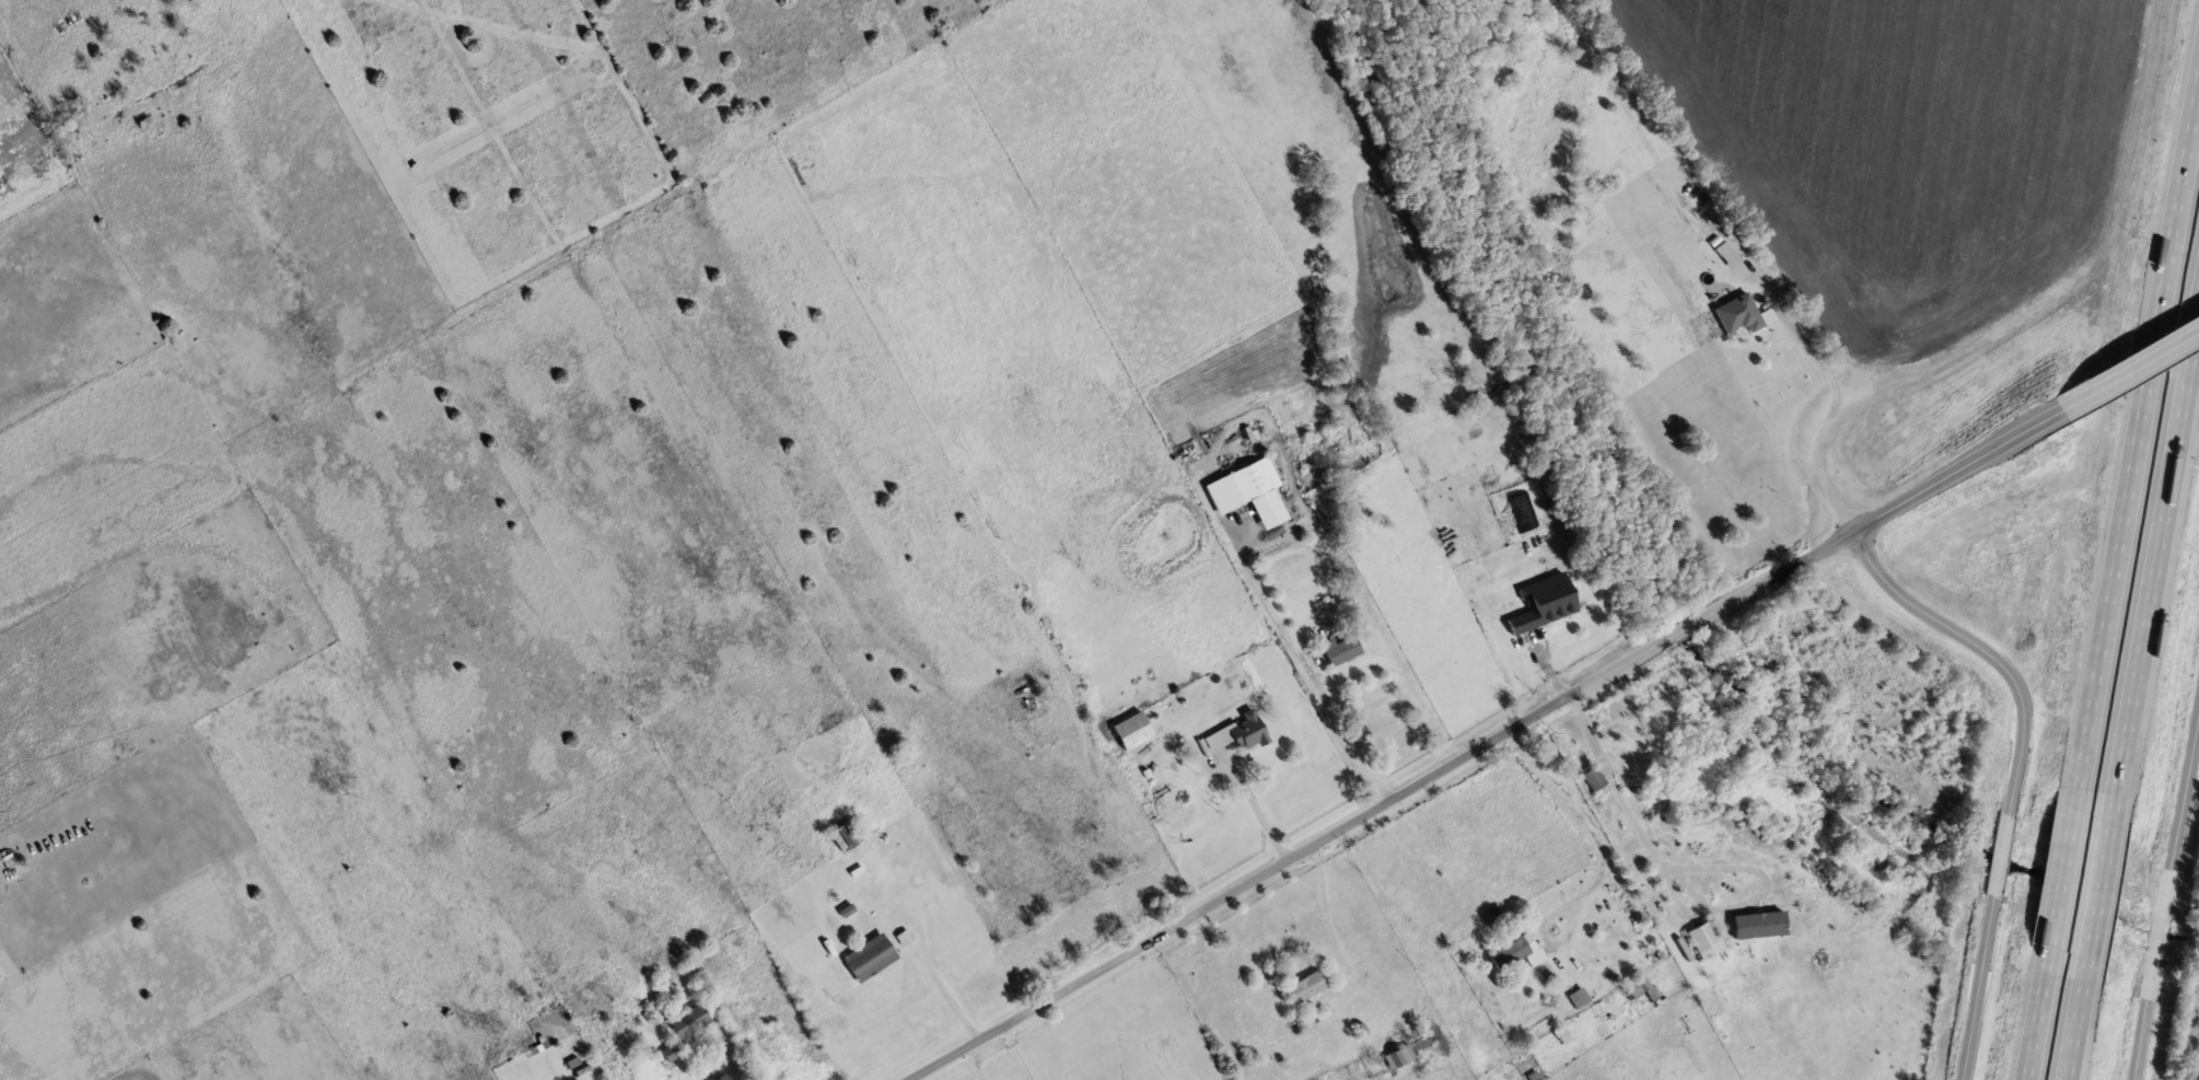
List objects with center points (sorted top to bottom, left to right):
building: (1736, 313)
road: (2137, 358)
road: (1832, 403)
road: (2138, 461)
building: (1252, 478)
road: (2151, 545)
building: (1540, 603)
road: (1983, 648)
building: (1340, 649)
road: (1304, 671)
building: (1130, 730)
building: (1237, 733)
road: (1593, 738)
road: (1492, 740)
building: (1593, 779)
road: (1561, 796)
building: (1634, 802)
road: (1255, 804)
road: (1999, 855)
road: (2064, 881)
road: (2091, 886)
road: (2165, 889)
road: (1326, 911)
road: (1718, 915)
road: (903, 938)
building: (1703, 939)
building: (1514, 949)
building: (868, 956)
road: (1571, 968)
building: (1305, 986)
road: (1976, 987)
building: (1576, 997)
road: (953, 998)
road: (2041, 1015)
road: (2069, 1018)
building: (688, 1021)
road: (708, 1044)
building: (670, 1050)
road: (1016, 1053)
building: (1398, 1056)

